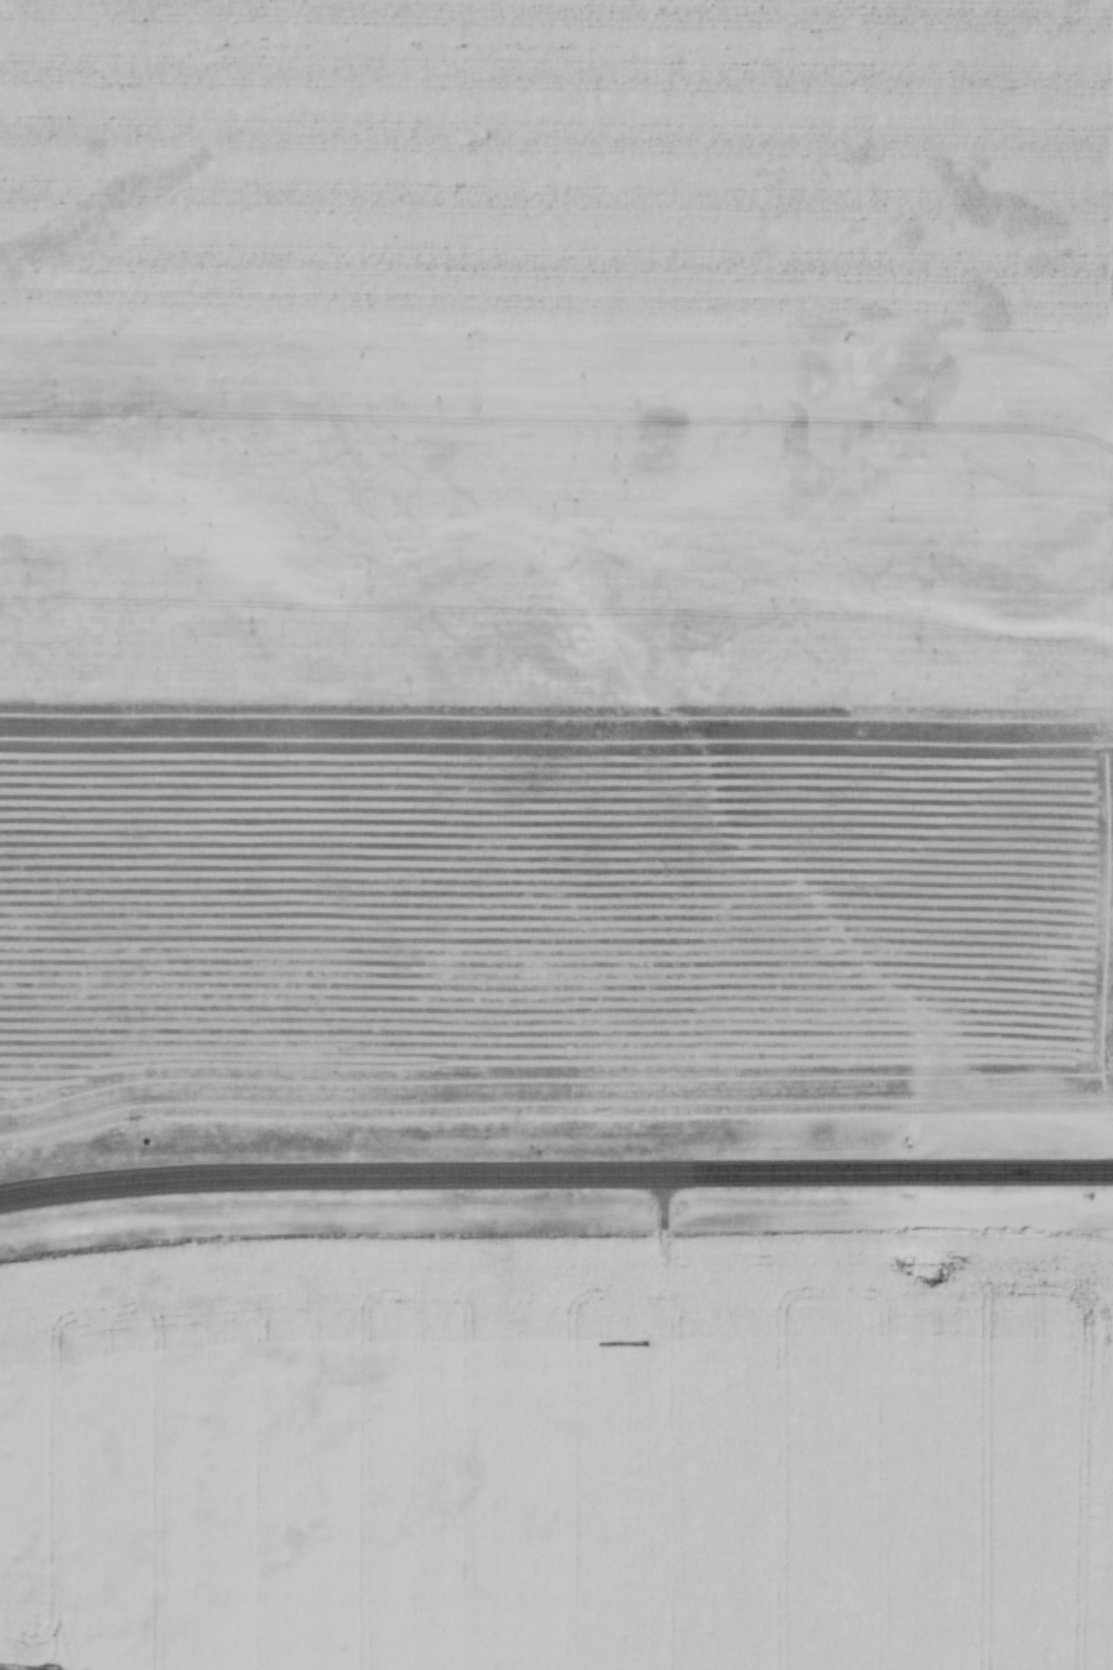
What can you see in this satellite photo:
road: (555, 1181)

